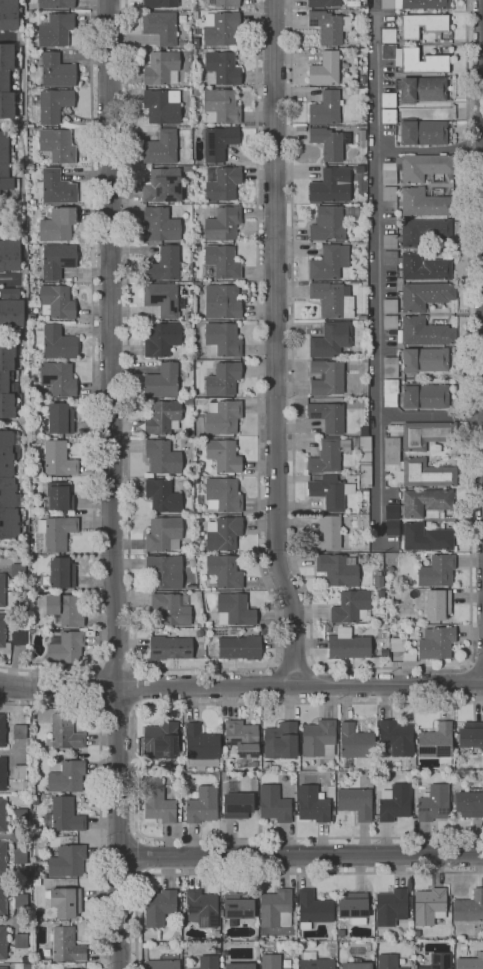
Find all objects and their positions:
building: (56, 3)
building: (160, 3)
building: (223, 3)
building: (323, 3)
building: (416, 4)
building: (188, 11)
building: (364, 11)
building: (9, 15)
building: (182, 19)
building: (423, 25)
building: (160, 26)
building: (329, 27)
building: (220, 28)
building: (56, 30)
building: (388, 36)
building: (196, 42)
building: (181, 44)
building: (193, 52)
building: (415, 60)
building: (162, 68)
building: (221, 69)
building: (325, 69)
building: (57, 70)
building: (362, 79)
building: (7, 81)
building: (421, 89)
building: (196, 92)
building: (388, 99)
building: (53, 104)
building: (162, 106)
building: (221, 106)
building: (326, 109)
building: (389, 116)
building: (30, 125)
building: (197, 131)
building: (421, 132)
building: (361, 135)
building: (219, 142)
building: (330, 142)
building: (57, 145)
building: (161, 148)
road: (429, 149)
building: (6, 164)
building: (423, 166)
building: (187, 168)
building: (389, 178)
building: (442, 179)
building: (222, 183)
building: (163, 185)
building: (331, 185)
building: (56, 187)
building: (389, 193)
building: (32, 201)
building: (426, 203)
building: (223, 223)
building: (57, 224)
building: (161, 224)
building: (328, 225)
building: (419, 233)
building: (198, 248)
building: (10, 253)
building: (58, 260)
building: (223, 262)
building: (329, 262)
building: (164, 265)
building: (419, 266)
road: (376, 274)
road: (10, 279)
building: (354, 282)
building: (197, 284)
building: (426, 295)
building: (163, 299)
building: (333, 300)
building: (56, 301)
building: (223, 302)
building: (390, 306)
building: (11, 308)
building: (188, 316)
building: (31, 318)
building: (362, 318)
building: (390, 322)
building: (426, 332)
building: (162, 339)
building: (222, 340)
building: (331, 340)
building: (56, 342)
road: (275, 344)
building: (425, 360)
building: (32, 363)
building: (390, 367)
building: (58, 378)
building: (326, 378)
building: (222, 379)
road: (93, 380)
building: (162, 381)
building: (7, 383)
building: (390, 392)
building: (425, 396)
building: (327, 416)
road: (430, 416)
building: (162, 418)
building: (222, 418)
building: (60, 419)
building: (427, 434)
building: (391, 453)
building: (223, 456)
building: (328, 456)
building: (162, 457)
building: (363, 458)
building: (58, 459)
building: (425, 474)
road: (111, 484)
building: (8, 486)
building: (331, 492)
building: (365, 493)
building: (223, 495)
building: (162, 496)
building: (58, 497)
building: (427, 502)
building: (394, 511)
building: (393, 528)
building: (56, 532)
building: (223, 533)
building: (328, 533)
building: (163, 534)
building: (427, 537)
building: (360, 547)
building: (336, 570)
building: (434, 570)
building: (164, 572)
building: (224, 572)
building: (62, 573)
building: (2, 589)
building: (438, 605)
building: (350, 606)
building: (235, 608)
building: (65, 609)
building: (171, 609)
building: (2, 630)
building: (18, 637)
building: (435, 643)
building: (350, 647)
building: (66, 648)
building: (239, 648)
building: (171, 649)
road: (476, 661)
road: (294, 664)
road: (96, 665)
road: (135, 665)
road: (116, 667)
road: (389, 667)
road: (206, 669)
road: (134, 685)
road: (99, 686)
road: (241, 686)
road: (117, 705)
road: (99, 706)
road: (137, 706)
building: (32, 717)
building: (2, 730)
building: (19, 732)
building: (63, 732)
building: (471, 735)
building: (241, 738)
building: (319, 738)
building: (395, 738)
building: (161, 740)
building: (280, 741)
building: (416, 741)
building: (355, 742)
building: (436, 743)
building: (201, 748)
building: (153, 768)
building: (417, 768)
road: (136, 771)
building: (19, 772)
building: (408, 773)
building: (3, 774)
building: (65, 775)
building: (253, 775)
building: (339, 783)
road: (101, 788)
building: (34, 800)
building: (158, 801)
building: (236, 802)
building: (469, 802)
building: (275, 803)
building: (356, 803)
building: (395, 803)
building: (434, 803)
building: (202, 805)
building: (313, 805)
building: (3, 814)
building: (18, 816)
building: (64, 816)
road: (137, 835)
road: (136, 854)
building: (20, 856)
road: (301, 856)
building: (3, 858)
building: (66, 861)
building: (33, 867)
road: (265, 873)
building: (26, 874)
road: (138, 875)
building: (43, 876)
building: (36, 882)
building: (3, 899)
building: (20, 901)
building: (65, 901)
building: (449, 901)
building: (238, 906)
building: (429, 906)
building: (159, 907)
building: (353, 907)
building: (391, 907)
building: (469, 907)
building: (202, 908)
building: (276, 908)
building: (313, 909)
building: (38, 915)
building: (257, 919)
building: (33, 923)
building: (216, 933)
building: (340, 933)
building: (417, 933)
building: (334, 937)
building: (449, 938)
building: (20, 941)
building: (3, 943)
building: (66, 944)
building: (144, 945)
building: (416, 945)
building: (463, 946)
building: (47, 953)
building: (271, 961)
building: (388, 961)
building: (440, 961)
building: (209, 962)
building: (316, 962)
building: (471, 962)
building: (162, 964)
building: (409, 964)
building: (74, 965)
building: (356, 965)
building: (240, 966)
building: (3, 968)
building: (189, 968)

